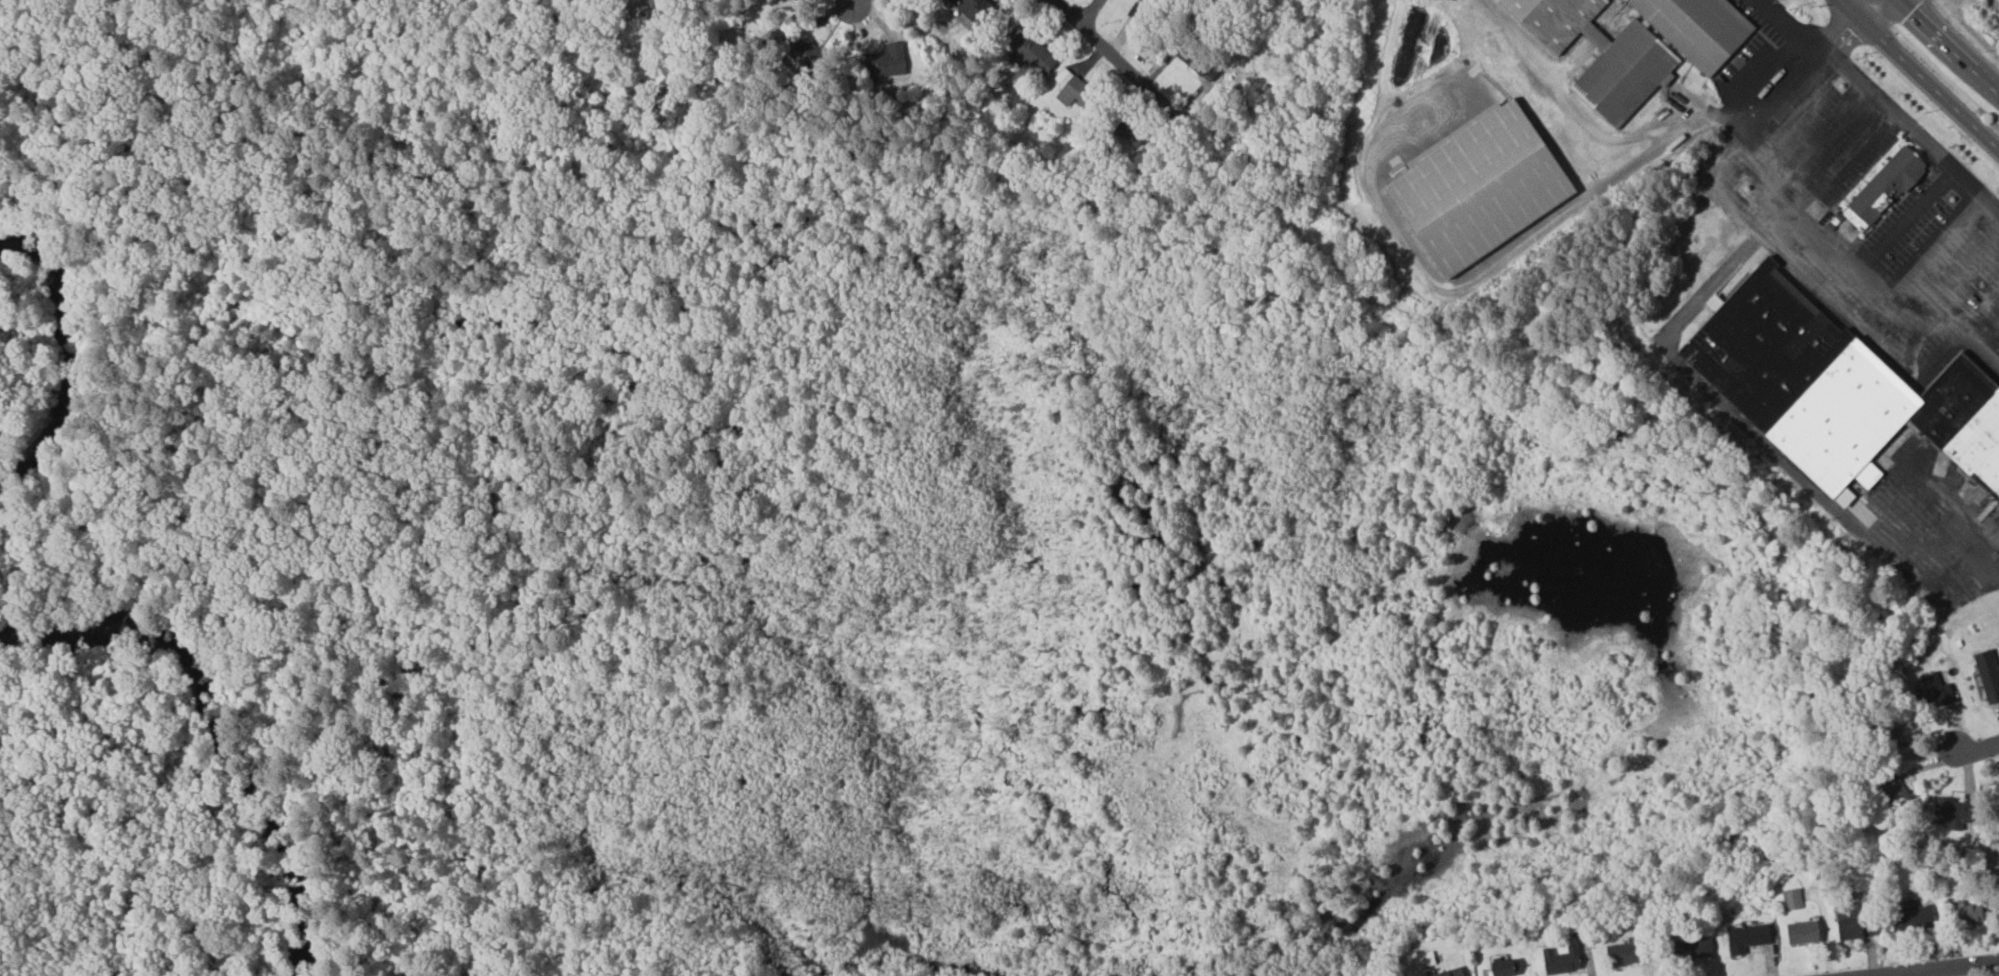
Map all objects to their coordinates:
building: (793, 0)
road: (1869, 7)
building: (970, 9)
road: (1089, 11)
traffic signals: (1863, 14)
building: (1699, 29)
road: (1844, 31)
road: (819, 34)
road: (1951, 44)
building: (798, 51)
building: (1029, 53)
building: (1597, 54)
building: (886, 60)
road: (1122, 65)
road: (1923, 70)
building: (1067, 86)
road: (1885, 106)
building: (1127, 131)
road: (1605, 134)
road: (1833, 168)
building: (1473, 189)
building: (1877, 190)
road: (1891, 223)
road: (1793, 241)
road: (1456, 286)
building: (1789, 386)
building: (1867, 474)
building: (1987, 675)
building: (1934, 694)
road: (1974, 752)
building: (1890, 788)
building: (1948, 813)
building: (1791, 899)
building: (1963, 912)
building: (1910, 916)
building: (1851, 922)
building: (1800, 932)
building: (1744, 938)
building: (1690, 948)
building: (1618, 954)
building: (1426, 959)
building: (1559, 960)
building: (1500, 968)
road: (1932, 968)
building: (1449, 972)

